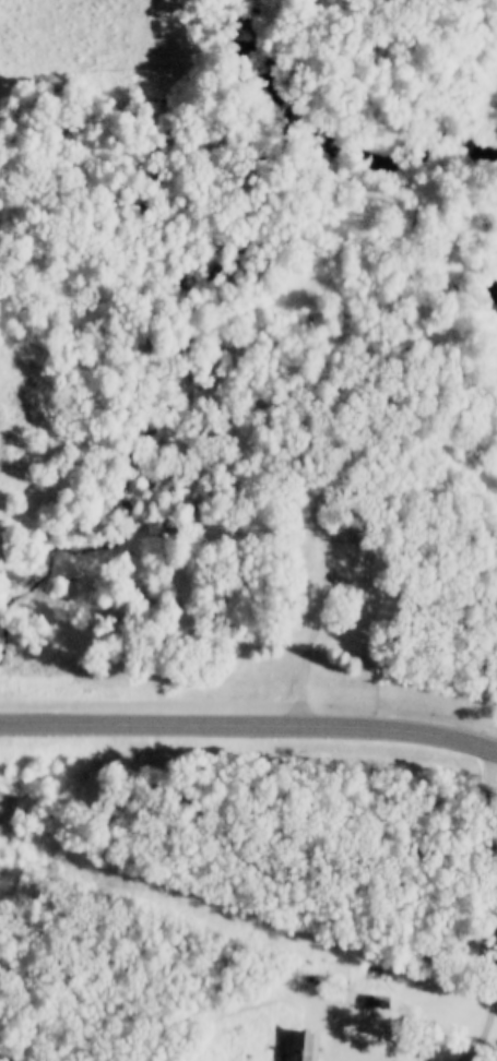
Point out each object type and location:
road: (307, 649)
road: (248, 724)
building: (303, 1046)
road: (480, 1048)

